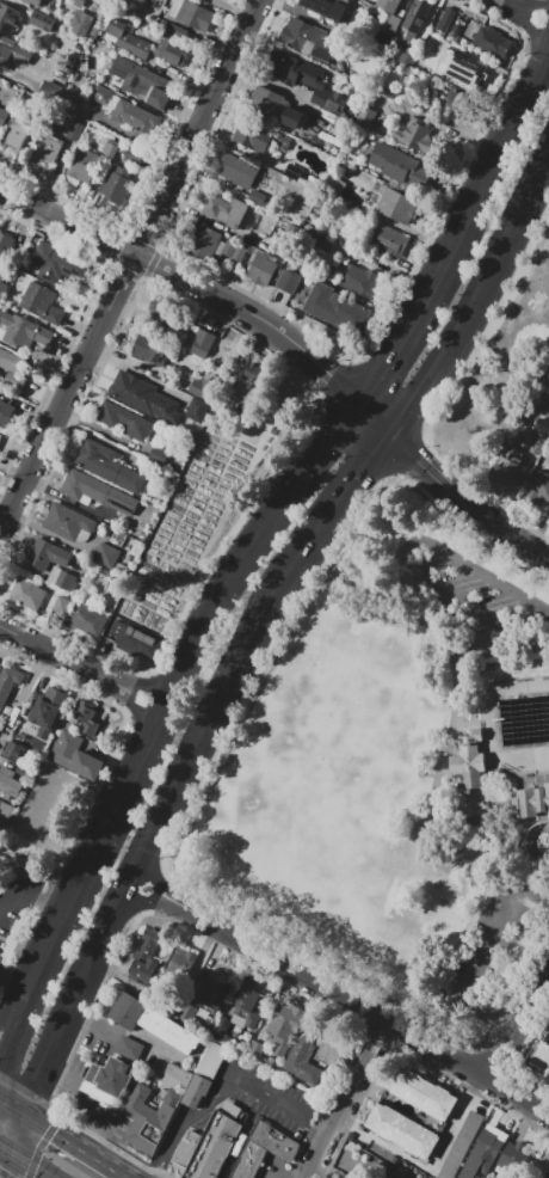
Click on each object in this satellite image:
building: (35, 2)
building: (79, 2)
building: (153, 2)
building: (387, 5)
building: (332, 8)
road: (524, 12)
building: (189, 13)
building: (7, 20)
building: (418, 20)
building: (445, 20)
building: (81, 23)
building: (390, 24)
building: (456, 29)
building: (39, 31)
building: (297, 35)
building: (384, 38)
building: (492, 42)
building: (137, 48)
building: (323, 53)
building: (175, 55)
building: (403, 57)
building: (5, 59)
building: (84, 63)
building: (434, 66)
road: (542, 69)
building: (473, 70)
building: (141, 81)
building: (304, 81)
building: (101, 93)
building: (452, 102)
building: (270, 103)
building: (2, 117)
building: (135, 117)
building: (365, 117)
road: (511, 117)
building: (76, 128)
building: (259, 136)
building: (14, 137)
building: (417, 137)
building: (317, 145)
building: (48, 148)
building: (109, 148)
building: (134, 155)
building: (390, 162)
building: (84, 167)
building: (235, 172)
building: (294, 172)
road: (51, 176)
building: (115, 188)
building: (257, 197)
building: (391, 205)
road: (41, 210)
building: (224, 211)
road: (78, 216)
road: (25, 220)
road: (50, 228)
building: (308, 229)
building: (208, 241)
building: (322, 241)
building: (388, 241)
building: (5, 246)
building: (228, 250)
road: (135, 259)
building: (55, 264)
building: (258, 266)
road: (130, 268)
building: (290, 280)
building: (362, 281)
road: (216, 284)
building: (2, 289)
road: (479, 299)
road: (218, 300)
road: (420, 301)
building: (41, 303)
road: (272, 309)
building: (337, 311)
building: (168, 317)
road: (218, 317)
building: (24, 331)
road: (272, 332)
road: (259, 337)
building: (202, 343)
building: (150, 349)
traffic signals: (387, 362)
building: (13, 367)
road: (327, 375)
building: (249, 378)
traffic signals: (329, 378)
building: (204, 388)
building: (144, 397)
building: (538, 400)
building: (197, 410)
building: (5, 412)
road: (374, 417)
building: (124, 419)
building: (537, 430)
building: (0, 434)
building: (0, 435)
building: (158, 455)
traffic signals: (414, 460)
road: (415, 461)
building: (109, 465)
traffic signals: (356, 474)
building: (504, 478)
building: (541, 485)
building: (95, 496)
road: (455, 497)
road: (334, 501)
building: (69, 524)
road: (507, 530)
road: (432, 545)
building: (48, 554)
building: (106, 554)
road: (235, 566)
building: (62, 579)
parking lot: (457, 583)
building: (27, 594)
road: (382, 599)
building: (61, 606)
road: (539, 609)
building: (87, 620)
road: (498, 624)
road: (500, 632)
building: (134, 639)
road: (80, 665)
building: (8, 681)
road: (206, 704)
building: (47, 712)
building: (85, 717)
road: (461, 723)
building: (0, 725)
building: (2, 741)
building: (13, 751)
building: (75, 755)
road: (107, 759)
building: (468, 762)
park: (401, 771)
building: (10, 784)
road: (124, 785)
building: (529, 804)
building: (6, 815)
road: (440, 815)
road: (127, 832)
road: (531, 843)
road: (500, 848)
road: (87, 864)
road: (531, 867)
road: (129, 877)
road: (518, 882)
road: (27, 894)
road: (506, 898)
road: (60, 924)
road: (95, 945)
parking lot: (489, 946)
road: (48, 951)
building: (146, 957)
road: (477, 958)
building: (180, 962)
road: (39, 973)
road: (117, 973)
road: (17, 977)
road: (81, 980)
road: (32, 987)
road: (76, 990)
building: (216, 993)
road: (339, 995)
road: (14, 1005)
building: (247, 1007)
road: (21, 1018)
building: (153, 1021)
road: (514, 1025)
building: (284, 1026)
road: (125, 1031)
road: (56, 1032)
building: (257, 1047)
building: (129, 1049)
building: (331, 1050)
building: (304, 1057)
building: (542, 1057)
traffic signals: (5, 1060)
road: (4, 1063)
road: (17, 1072)
building: (204, 1075)
building: (175, 1076)
road: (224, 1079)
building: (107, 1080)
road: (31, 1088)
building: (420, 1092)
road: (345, 1100)
parking lot: (91, 1103)
road: (12, 1104)
road: (86, 1104)
road: (35, 1118)
building: (147, 1118)
road: (455, 1123)
road: (47, 1128)
building: (401, 1130)
road: (19, 1131)
traffic signals: (55, 1133)
road: (56, 1134)
building: (485, 1142)
building: (461, 1145)
road: (75, 1146)
road: (7, 1148)
building: (208, 1148)
building: (264, 1149)
road: (36, 1153)
building: (513, 1155)
road: (105, 1162)
road: (12, 1165)
road: (32, 1165)
road: (280, 1167)
building: (547, 1173)
road: (5, 1174)
road: (128, 1176)
road: (8, 1177)
road: (53, 1177)

